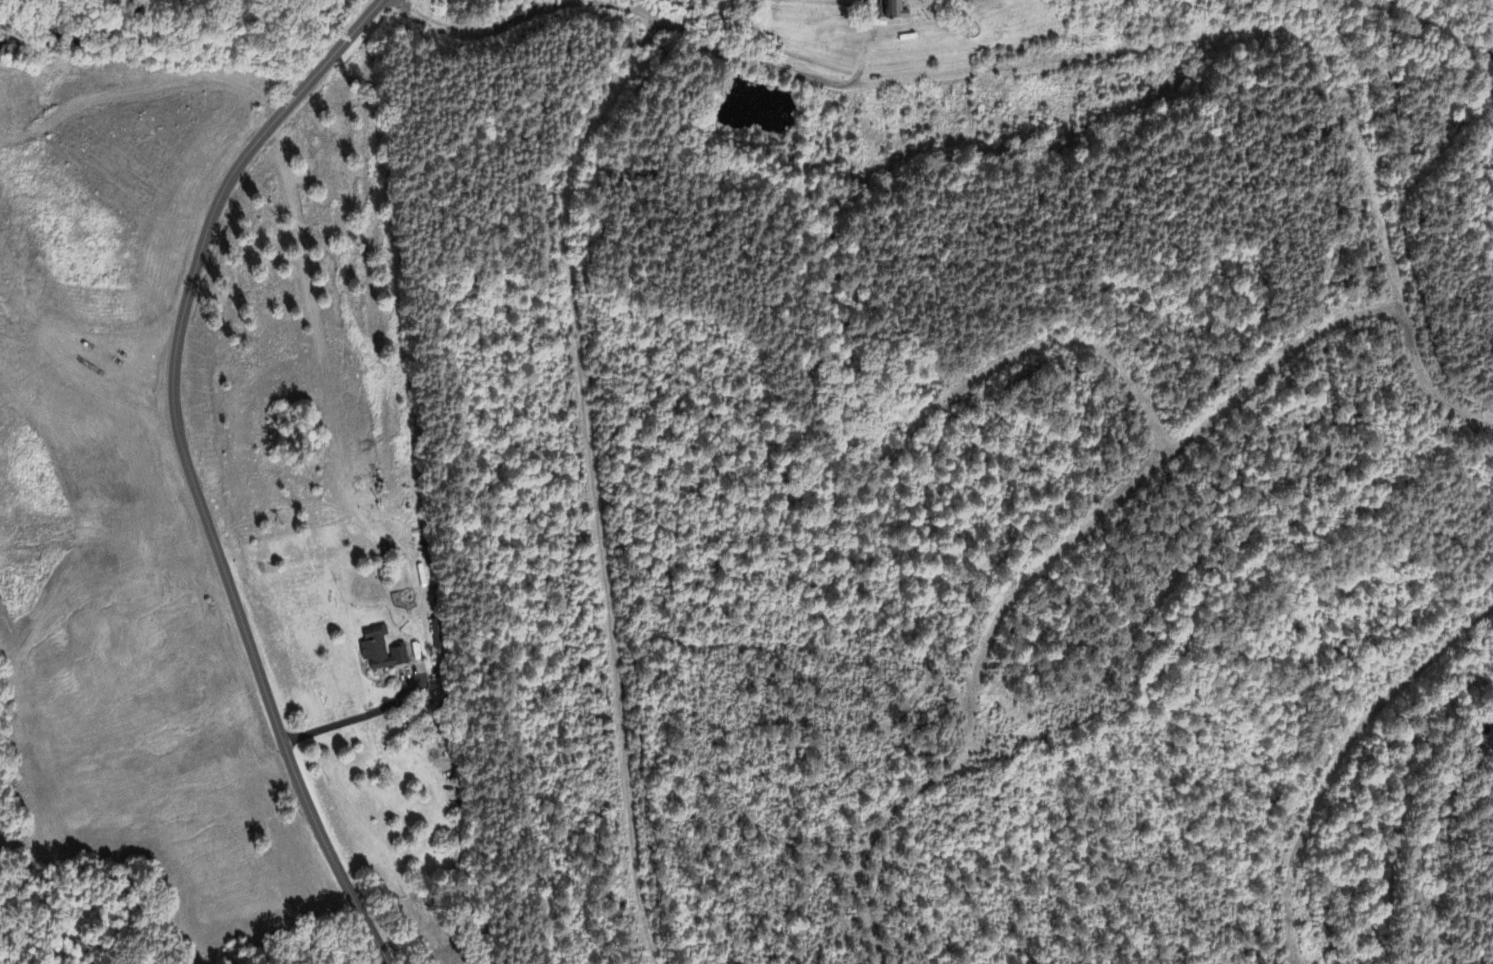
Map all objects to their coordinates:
building: (897, 10)
road: (489, 21)
road: (759, 62)
road: (190, 468)
building: (439, 637)
building: (381, 651)
road: (356, 719)

